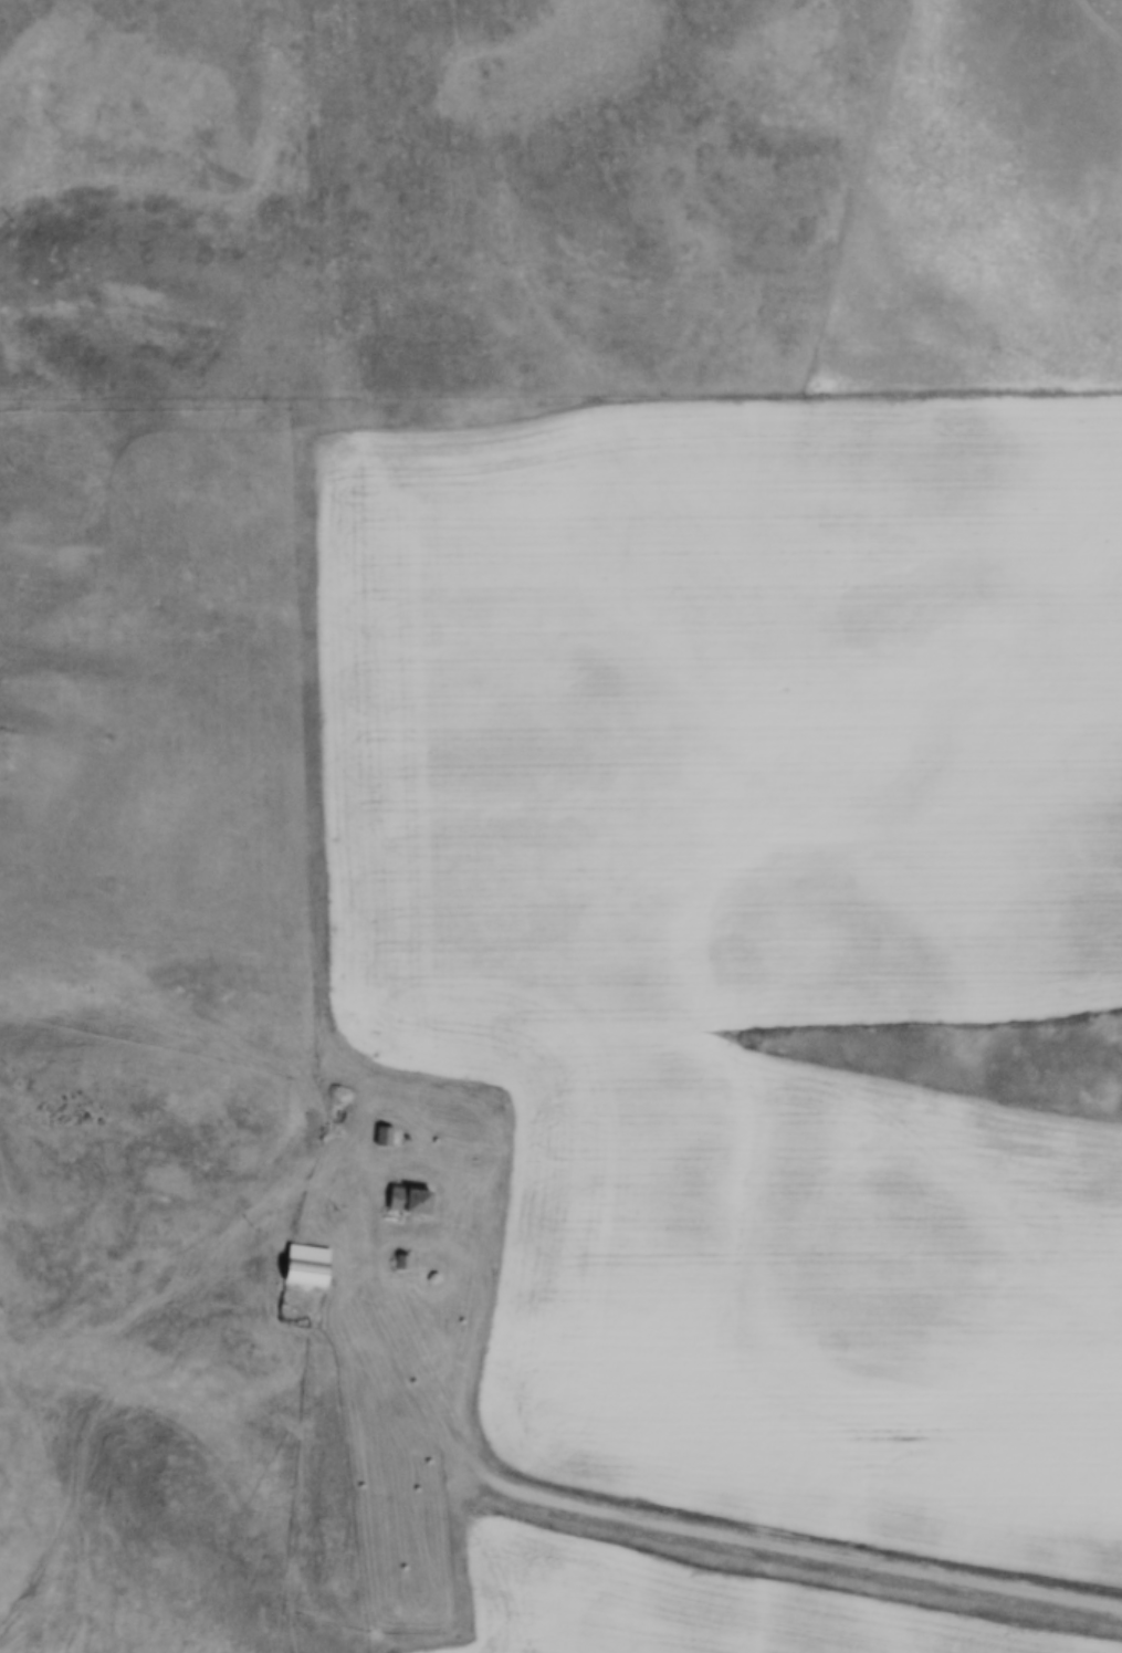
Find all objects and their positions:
building: (385, 1133)
building: (411, 1202)
road: (422, 1228)
building: (308, 1266)
road: (780, 1538)

